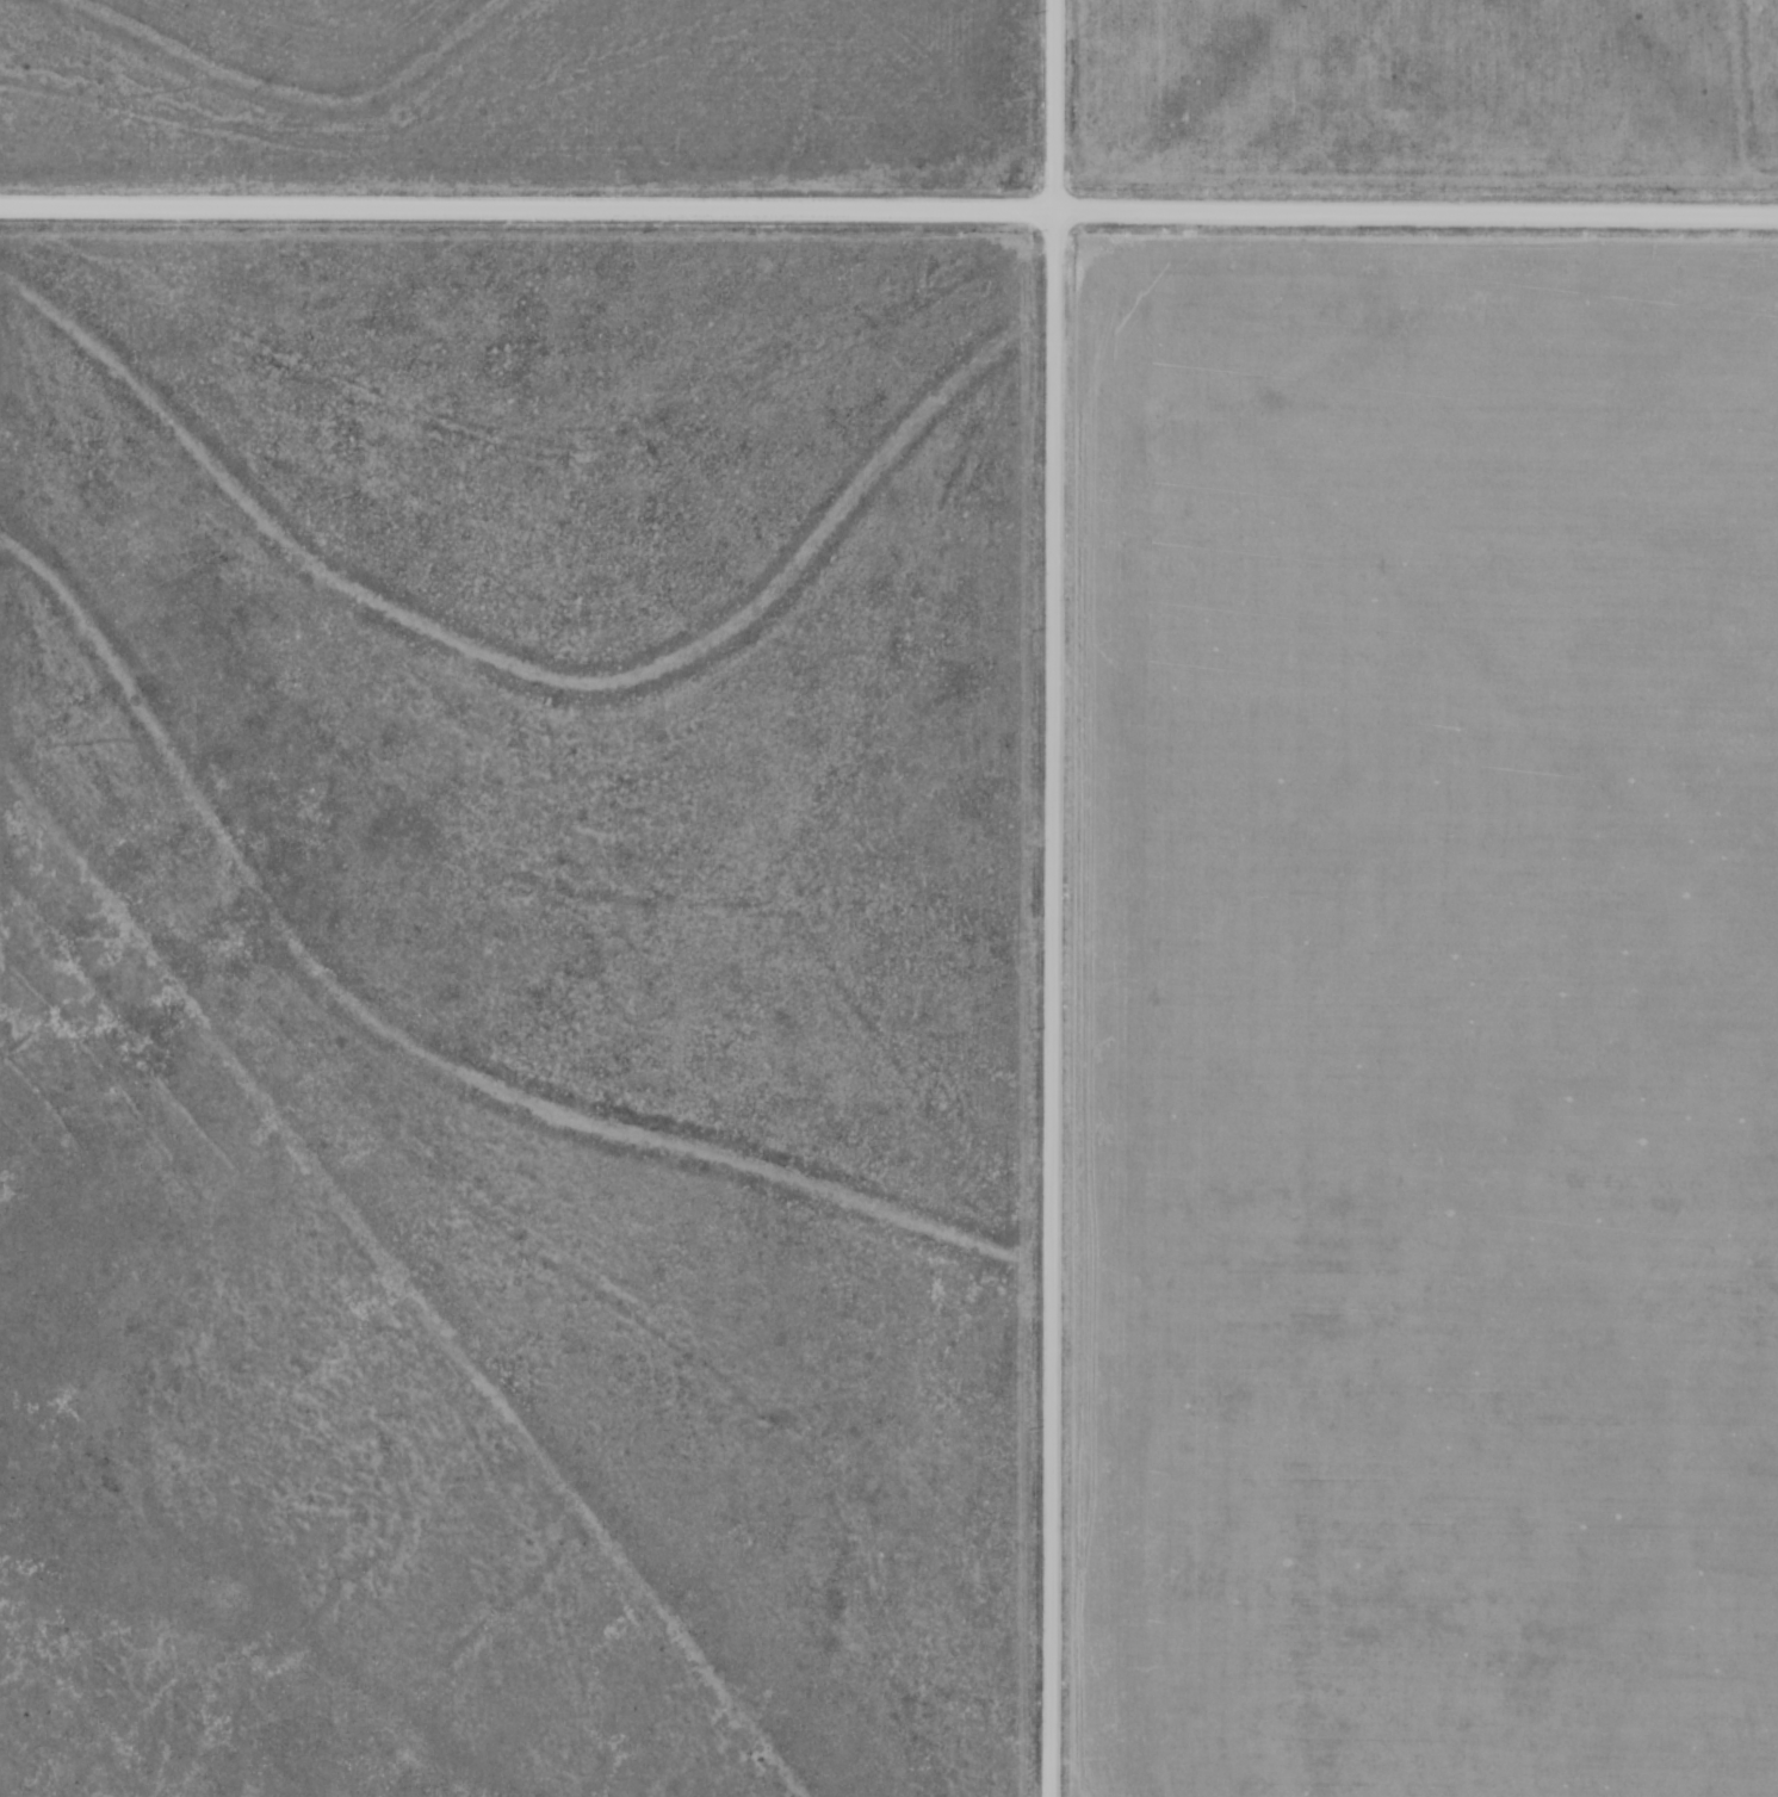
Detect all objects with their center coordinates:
road: (888, 224)
road: (1067, 898)

